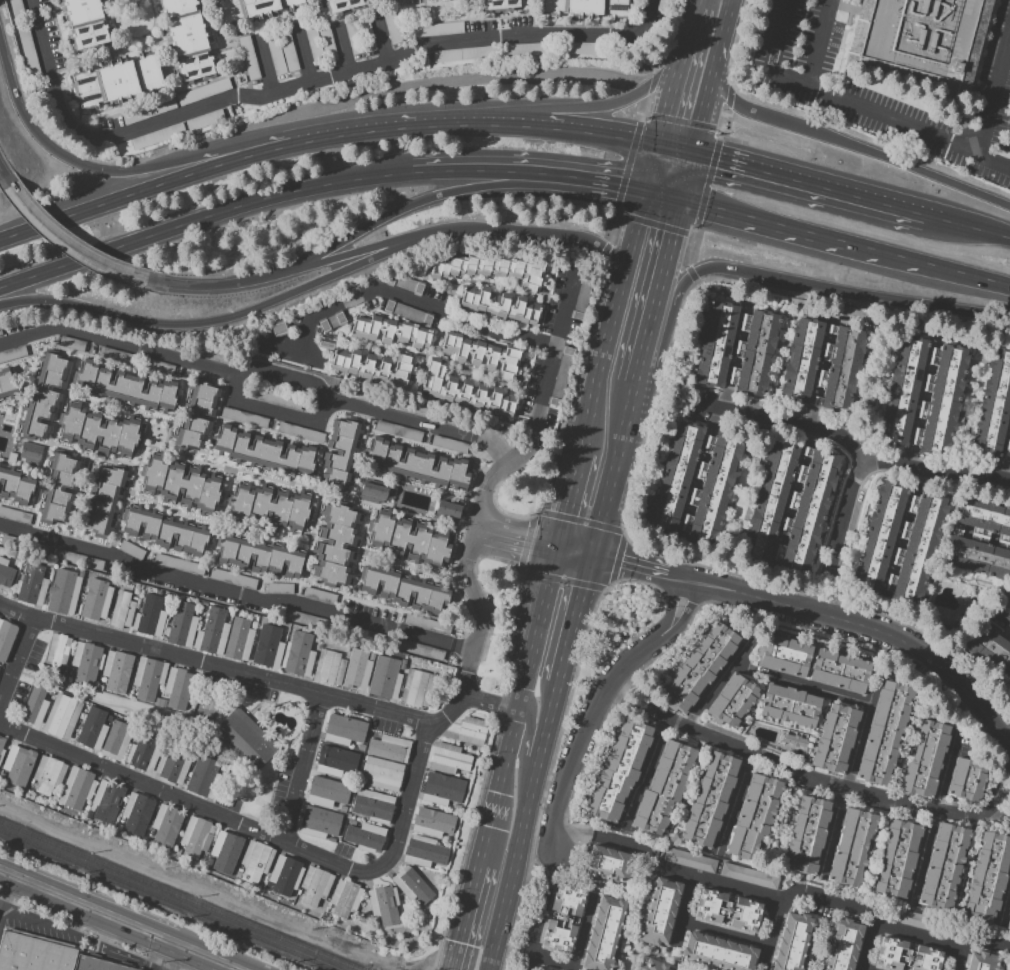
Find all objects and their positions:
building: (396, 1)
building: (500, 4)
building: (341, 6)
building: (17, 8)
building: (586, 8)
building: (250, 9)
building: (85, 22)
road: (690, 26)
building: (391, 28)
building: (439, 30)
building: (366, 34)
building: (354, 37)
building: (186, 40)
road: (380, 40)
building: (920, 40)
building: (313, 43)
building: (327, 44)
building: (27, 46)
building: (524, 48)
building: (584, 48)
road: (341, 49)
building: (288, 50)
building: (275, 53)
building: (476, 53)
road: (301, 55)
building: (447, 56)
building: (248, 57)
road: (265, 64)
building: (116, 82)
road: (305, 85)
building: (203, 92)
road: (708, 99)
road: (670, 100)
road: (604, 107)
building: (148, 111)
traffic signals: (667, 116)
building: (204, 120)
road: (901, 122)
road: (512, 124)
building: (157, 136)
road: (851, 146)
traffic signals: (658, 148)
road: (676, 152)
traffic signals: (694, 156)
road: (993, 161)
traffic signals: (718, 162)
road: (144, 170)
road: (530, 170)
road: (4, 175)
road: (180, 179)
traffic signals: (619, 182)
road: (809, 185)
traffic signals: (646, 191)
road: (450, 193)
traffic signals: (616, 194)
road: (664, 195)
traffic signals: (682, 200)
road: (203, 220)
road: (967, 226)
road: (674, 230)
road: (799, 232)
road: (552, 235)
traffic signals: (673, 235)
road: (70, 242)
road: (354, 254)
road: (681, 265)
building: (491, 270)
road: (963, 276)
road: (660, 283)
road: (209, 287)
road: (849, 292)
road: (412, 301)
building: (498, 304)
road: (616, 306)
road: (225, 320)
building: (389, 332)
building: (69, 343)
road: (645, 343)
building: (735, 348)
road: (293, 352)
building: (13, 354)
building: (115, 355)
building: (483, 355)
building: (821, 364)
road: (658, 365)
building: (159, 367)
road: (260, 367)
building: (375, 367)
road: (547, 372)
building: (8, 385)
building: (126, 389)
building: (463, 390)
building: (359, 393)
building: (924, 395)
building: (276, 398)
building: (43, 403)
building: (411, 406)
building: (994, 408)
building: (197, 414)
road: (275, 415)
road: (627, 417)
building: (242, 418)
building: (0, 419)
road: (778, 424)
building: (399, 431)
building: (99, 432)
building: (303, 432)
building: (449, 444)
building: (339, 453)
building: (263, 454)
road: (860, 463)
building: (415, 467)
building: (693, 481)
building: (182, 486)
building: (16, 487)
building: (59, 487)
building: (376, 492)
building: (102, 500)
road: (603, 504)
building: (270, 508)
building: (447, 509)
road: (568, 509)
building: (788, 509)
building: (11, 515)
traffic signals: (567, 515)
building: (164, 531)
building: (980, 538)
building: (409, 539)
building: (9, 541)
road: (513, 541)
building: (899, 542)
traffic signals: (528, 545)
building: (337, 547)
building: (40, 548)
building: (130, 550)
road: (573, 554)
building: (263, 557)
building: (79, 559)
traffic signals: (623, 559)
road: (628, 560)
building: (18, 564)
building: (178, 565)
building: (6, 573)
building: (80, 573)
road: (466, 576)
building: (232, 577)
road: (716, 581)
building: (31, 584)
road: (673, 586)
traffic signals: (581, 588)
building: (279, 589)
building: (405, 589)
building: (63, 592)
building: (135, 592)
road: (235, 592)
building: (82, 597)
building: (134, 598)
building: (325, 598)
building: (96, 599)
road: (544, 600)
building: (204, 606)
road: (671, 609)
building: (121, 610)
road: (685, 614)
building: (151, 616)
road: (573, 619)
building: (182, 624)
building: (424, 624)
building: (253, 625)
building: (212, 632)
building: (993, 635)
building: (5, 636)
building: (240, 639)
building: (316, 640)
road: (902, 642)
building: (268, 646)
building: (347, 650)
building: (58, 652)
building: (298, 654)
building: (355, 656)
building: (783, 656)
road: (17, 662)
building: (86, 662)
road: (634, 662)
road: (213, 664)
building: (401, 665)
building: (329, 667)
building: (700, 667)
building: (838, 671)
building: (116, 672)
building: (358, 673)
building: (384, 677)
building: (148, 678)
building: (68, 680)
building: (176, 687)
road: (711, 687)
building: (100, 688)
building: (415, 688)
building: (51, 691)
road: (231, 692)
road: (841, 695)
road: (469, 699)
building: (732, 701)
building: (160, 702)
road: (271, 703)
road: (104, 704)
building: (35, 706)
building: (790, 706)
park: (205, 708)
road: (253, 710)
road: (247, 715)
building: (61, 716)
building: (108, 718)
road: (256, 728)
building: (92, 729)
building: (344, 730)
building: (472, 730)
building: (884, 732)
building: (246, 738)
building: (834, 738)
building: (115, 740)
building: (794, 741)
building: (1, 748)
road: (230, 748)
building: (388, 748)
road: (509, 748)
building: (143, 751)
building: (215, 752)
road: (272, 756)
building: (924, 758)
building: (449, 759)
building: (337, 760)
building: (19, 761)
building: (173, 764)
road: (523, 765)
road: (302, 766)
building: (2, 769)
building: (620, 769)
road: (551, 773)
building: (381, 774)
road: (567, 774)
building: (48, 775)
building: (467, 775)
road: (808, 775)
building: (1, 777)
building: (204, 778)
building: (966, 780)
road: (276, 781)
building: (32, 782)
building: (227, 783)
building: (233, 786)
building: (77, 789)
building: (441, 789)
building: (663, 789)
building: (327, 792)
road: (226, 793)
building: (709, 800)
building: (107, 801)
building: (373, 806)
building: (456, 807)
building: (342, 808)
building: (89, 813)
building: (136, 814)
road: (540, 816)
building: (753, 816)
building: (319, 822)
building: (432, 822)
building: (352, 823)
building: (166, 824)
road: (524, 825)
building: (118, 827)
road: (259, 831)
building: (807, 834)
building: (193, 837)
building: (366, 837)
building: (451, 837)
building: (331, 839)
building: (179, 847)
building: (852, 847)
building: (225, 850)
building: (176, 852)
building: (422, 852)
railway: (77, 854)
building: (897, 859)
building: (690, 860)
building: (255, 861)
road: (536, 861)
building: (607, 864)
building: (944, 865)
railway: (97, 872)
building: (237, 875)
building: (284, 875)
building: (750, 876)
building: (987, 878)
building: (267, 885)
building: (315, 885)
building: (412, 885)
road: (6, 891)
building: (298, 892)
road: (783, 897)
building: (344, 898)
building: (328, 904)
building: (384, 904)
building: (417, 906)
road: (469, 909)
building: (728, 910)
building: (658, 911)
road: (682, 911)
road: (539, 916)
road: (26, 917)
building: (563, 918)
road: (120, 919)
building: (375, 920)
building: (919, 921)
building: (1009, 923)
railway: (255, 928)
road: (723, 933)
road: (770, 933)
building: (604, 934)
railway: (263, 941)
building: (793, 942)
traffic signals: (461, 945)
building: (842, 945)
road: (865, 947)
road: (152, 952)
road: (575, 952)
building: (717, 952)
building: (32, 953)
road: (173, 956)
building: (906, 956)
road: (957, 959)
building: (983, 962)
building: (96, 964)
building: (652, 965)
road: (861, 969)

